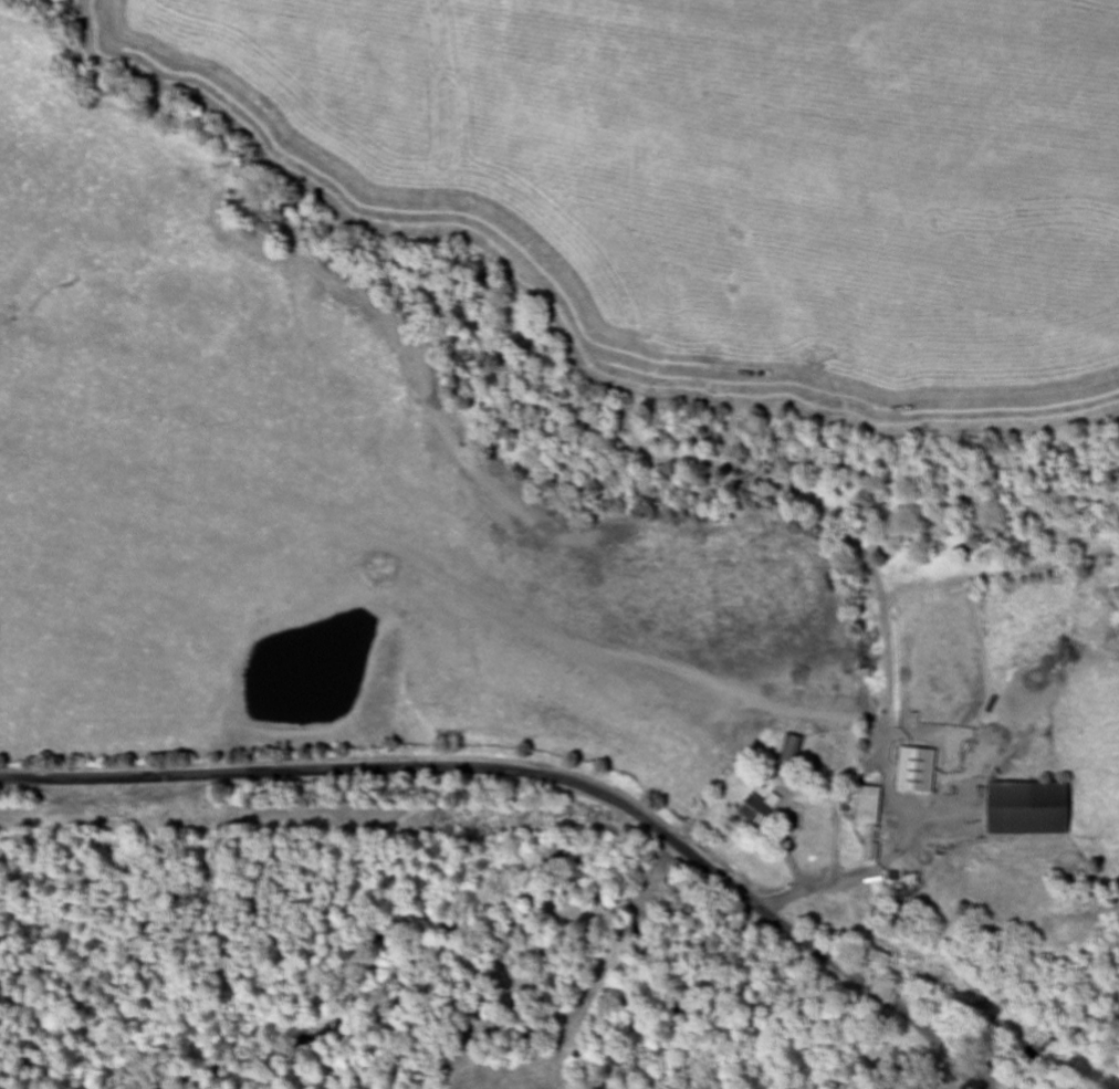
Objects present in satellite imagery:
building: (787, 756)
building: (917, 769)
road: (540, 781)
building: (872, 803)
building: (1032, 808)
building: (760, 810)
building: (811, 818)
building: (870, 849)
building: (901, 882)

